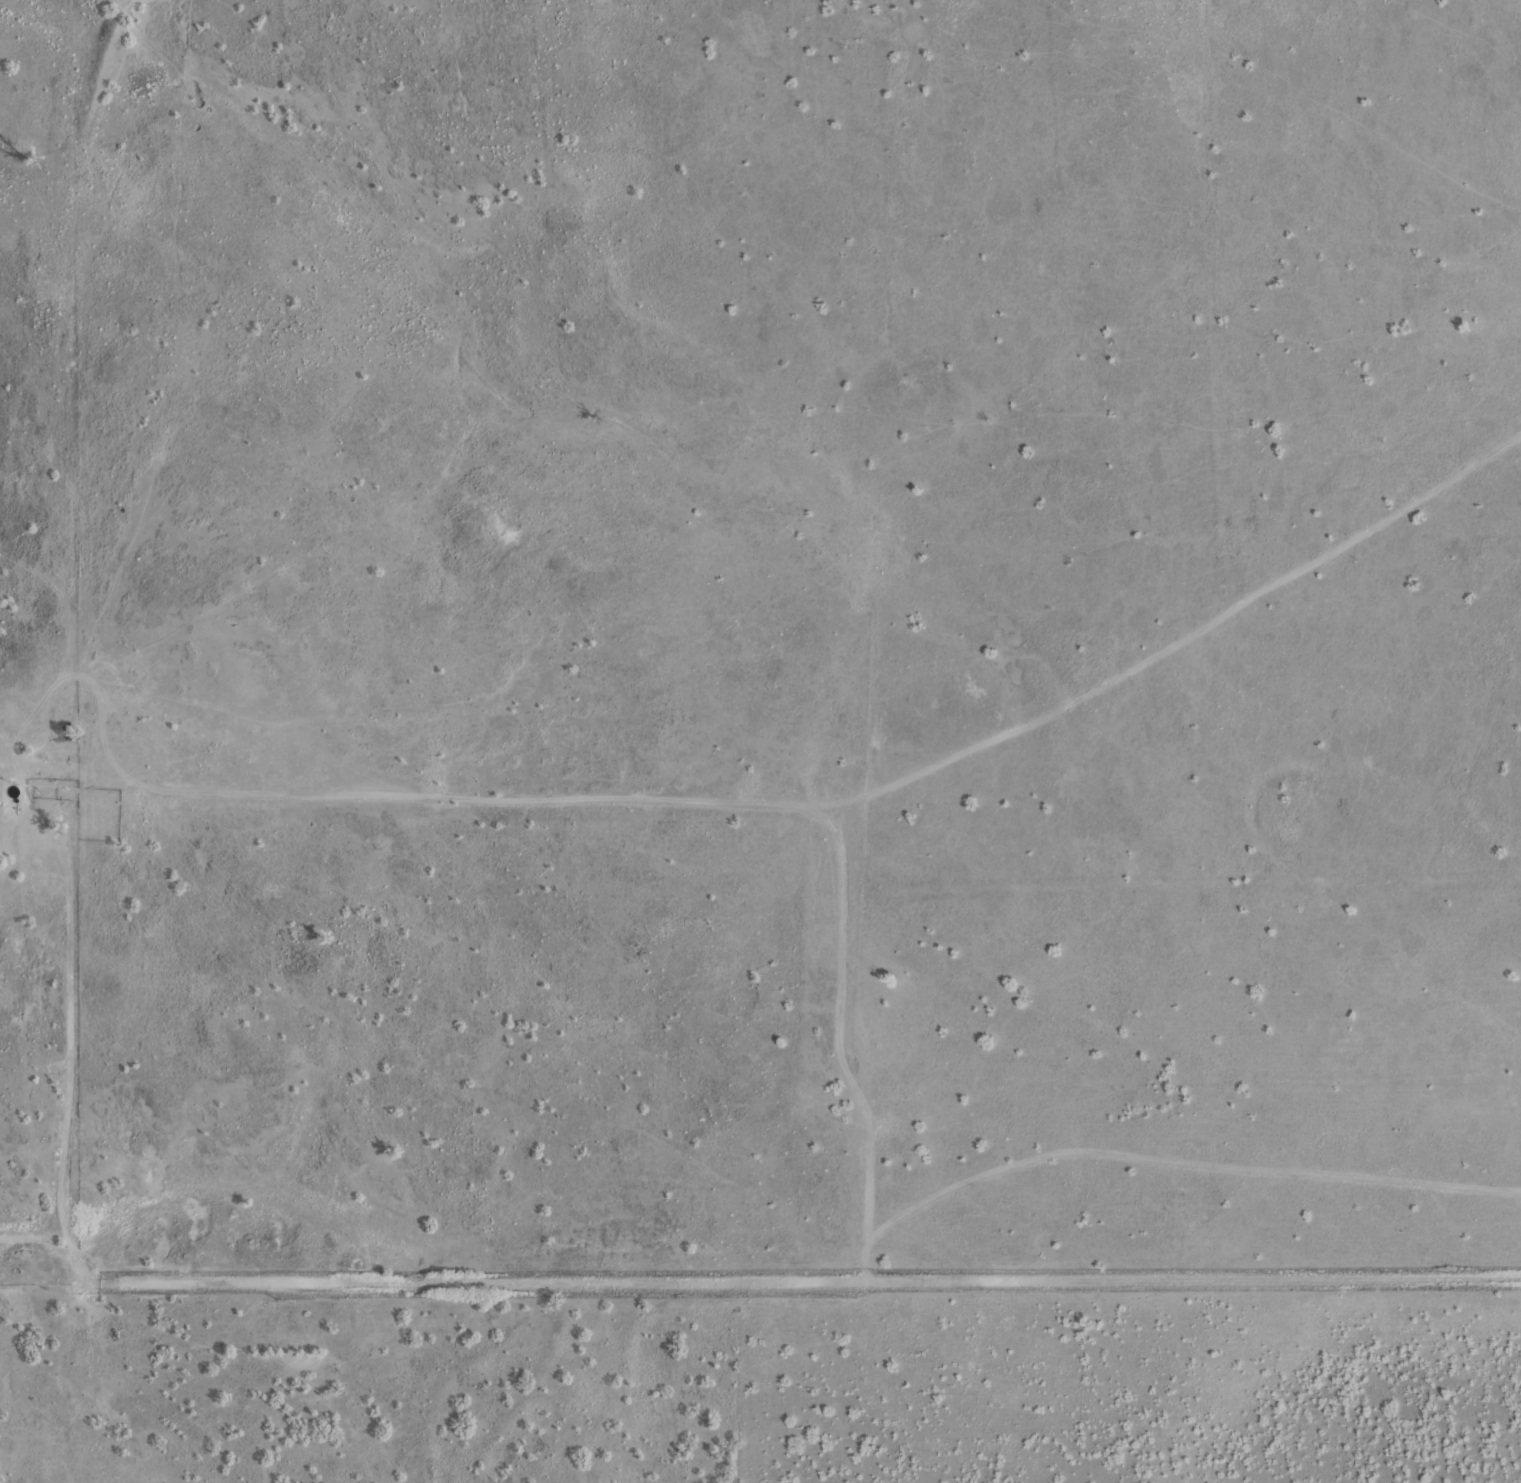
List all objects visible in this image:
road: (899, 1279)
road: (881, 1382)

